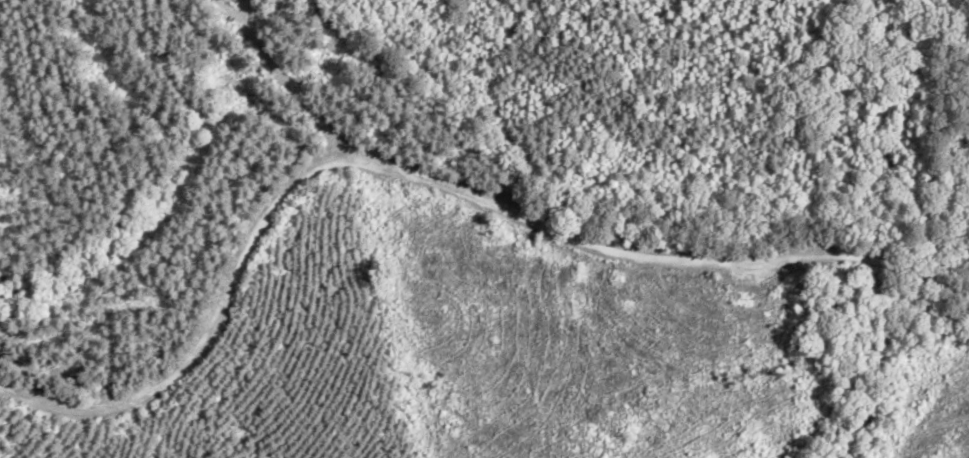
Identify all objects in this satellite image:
road: (675, 210)

